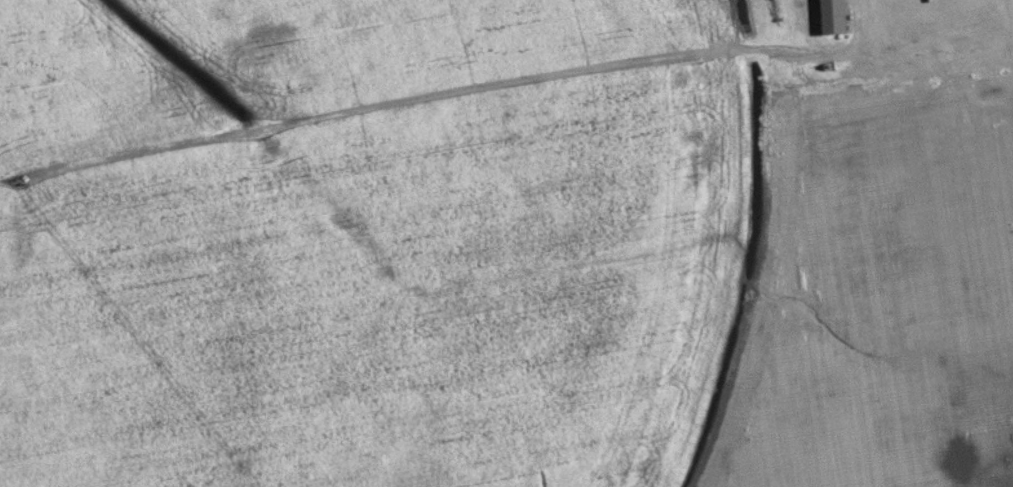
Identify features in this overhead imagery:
road: (1012, 2)
building: (838, 17)

